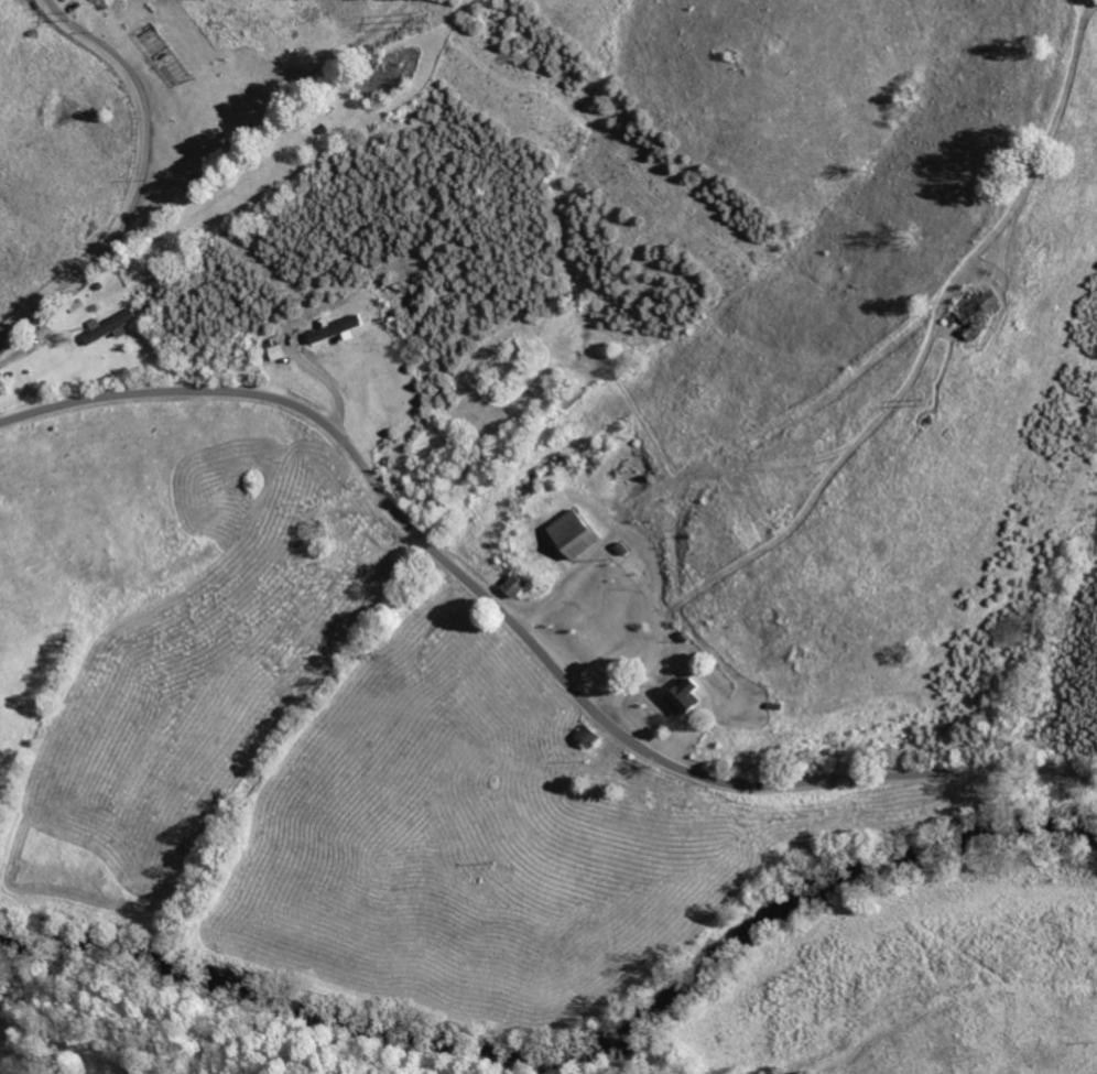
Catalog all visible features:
road: (141, 178)
building: (110, 327)
building: (276, 352)
road: (718, 465)
building: (572, 535)
road: (524, 636)
building: (683, 696)

